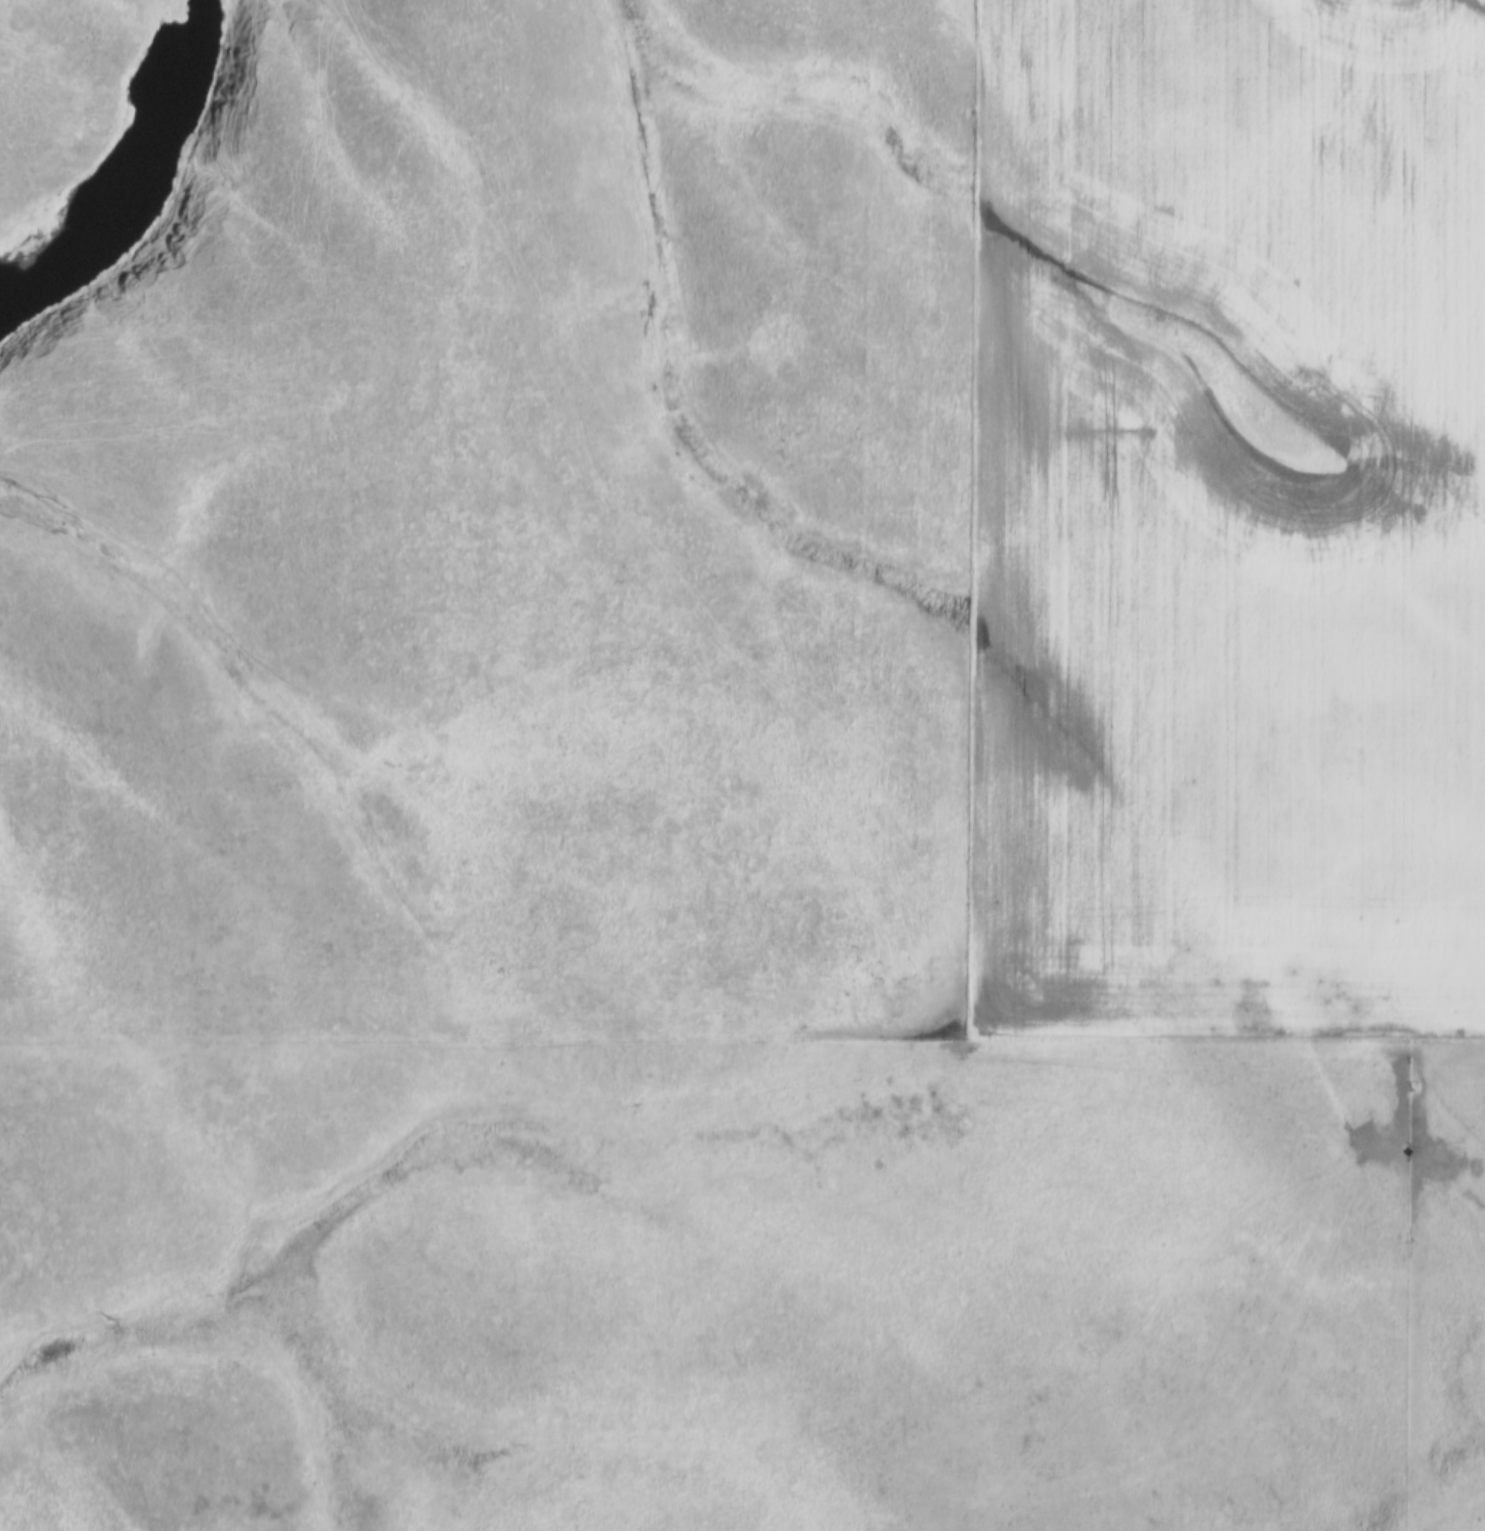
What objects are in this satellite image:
river: (131, 171)

